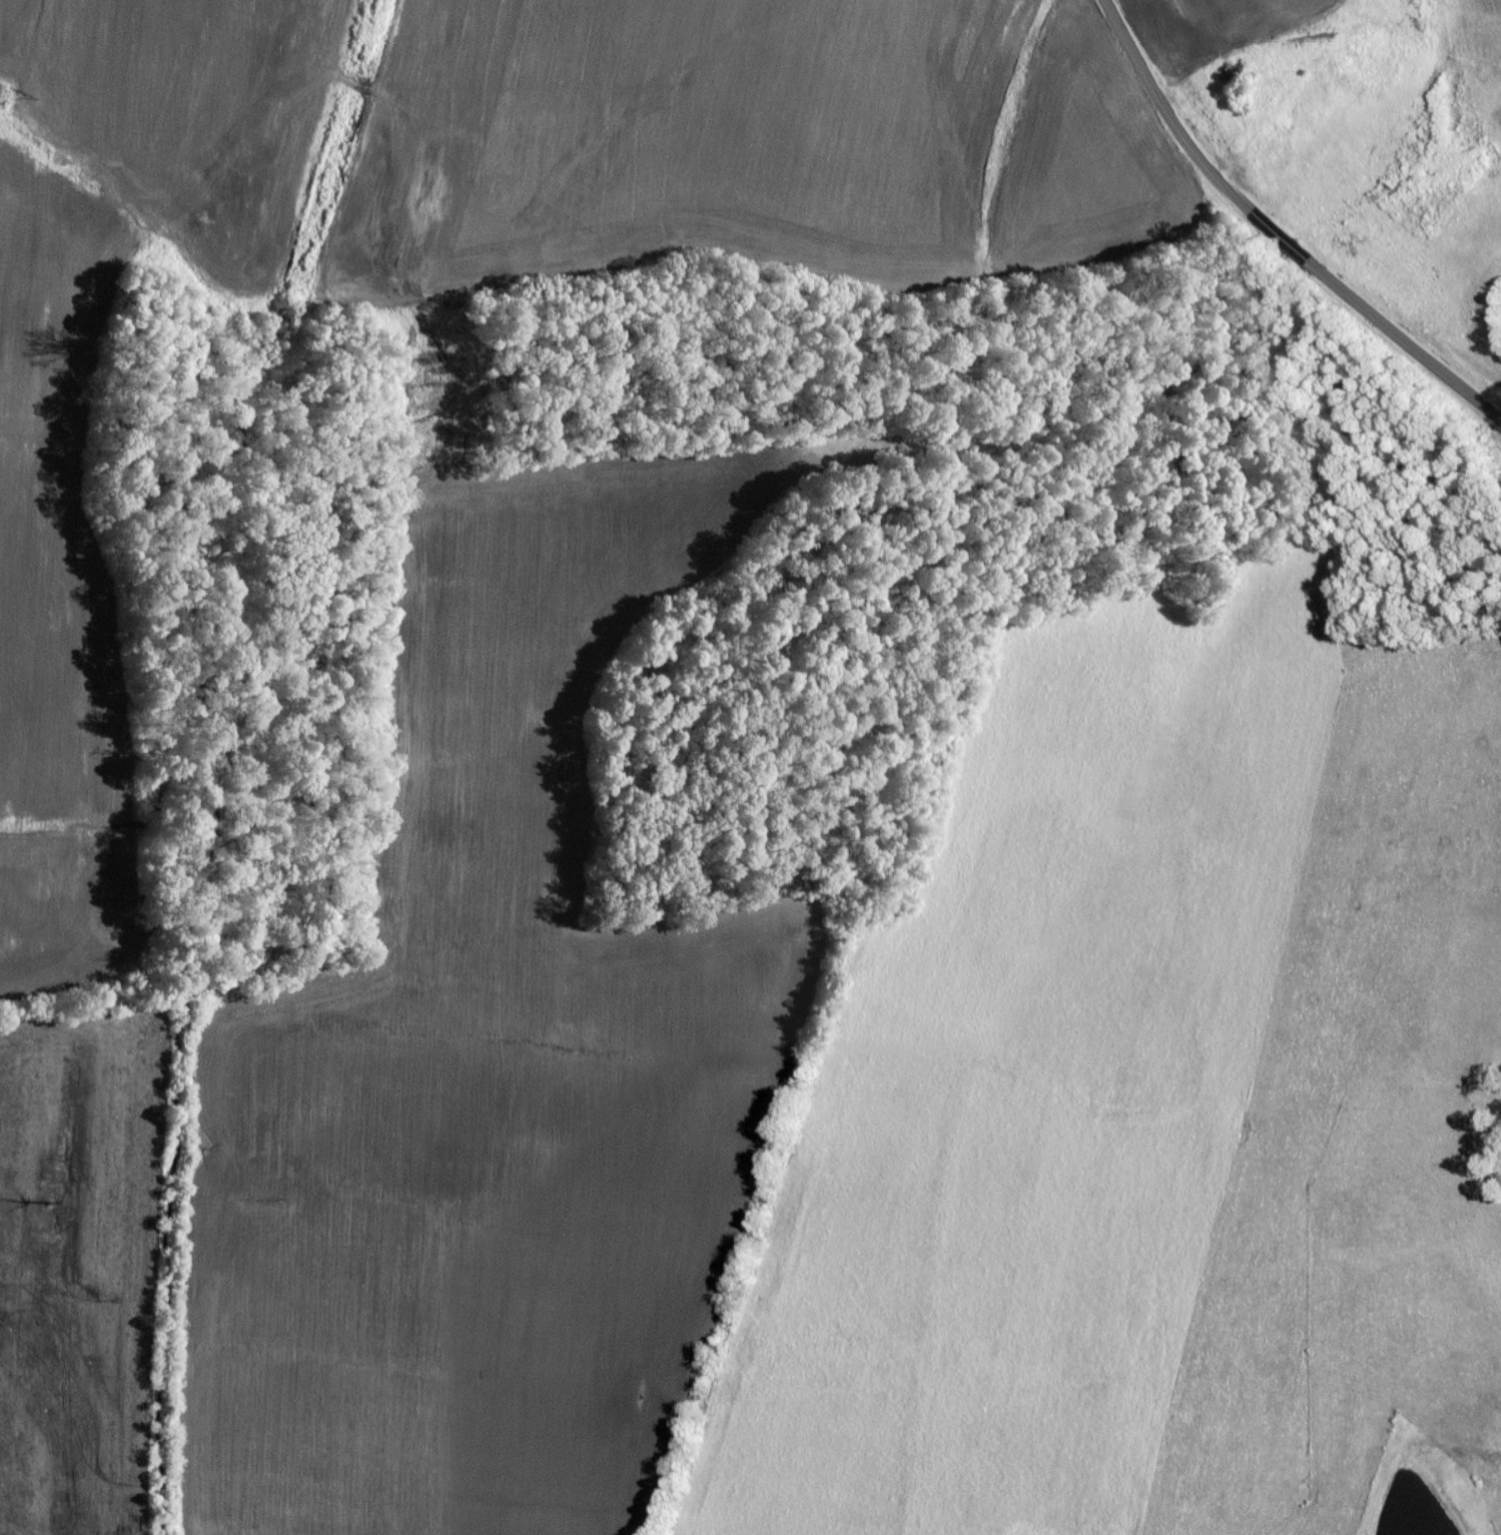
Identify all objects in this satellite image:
power tower: (3, 93)
road: (1276, 236)

